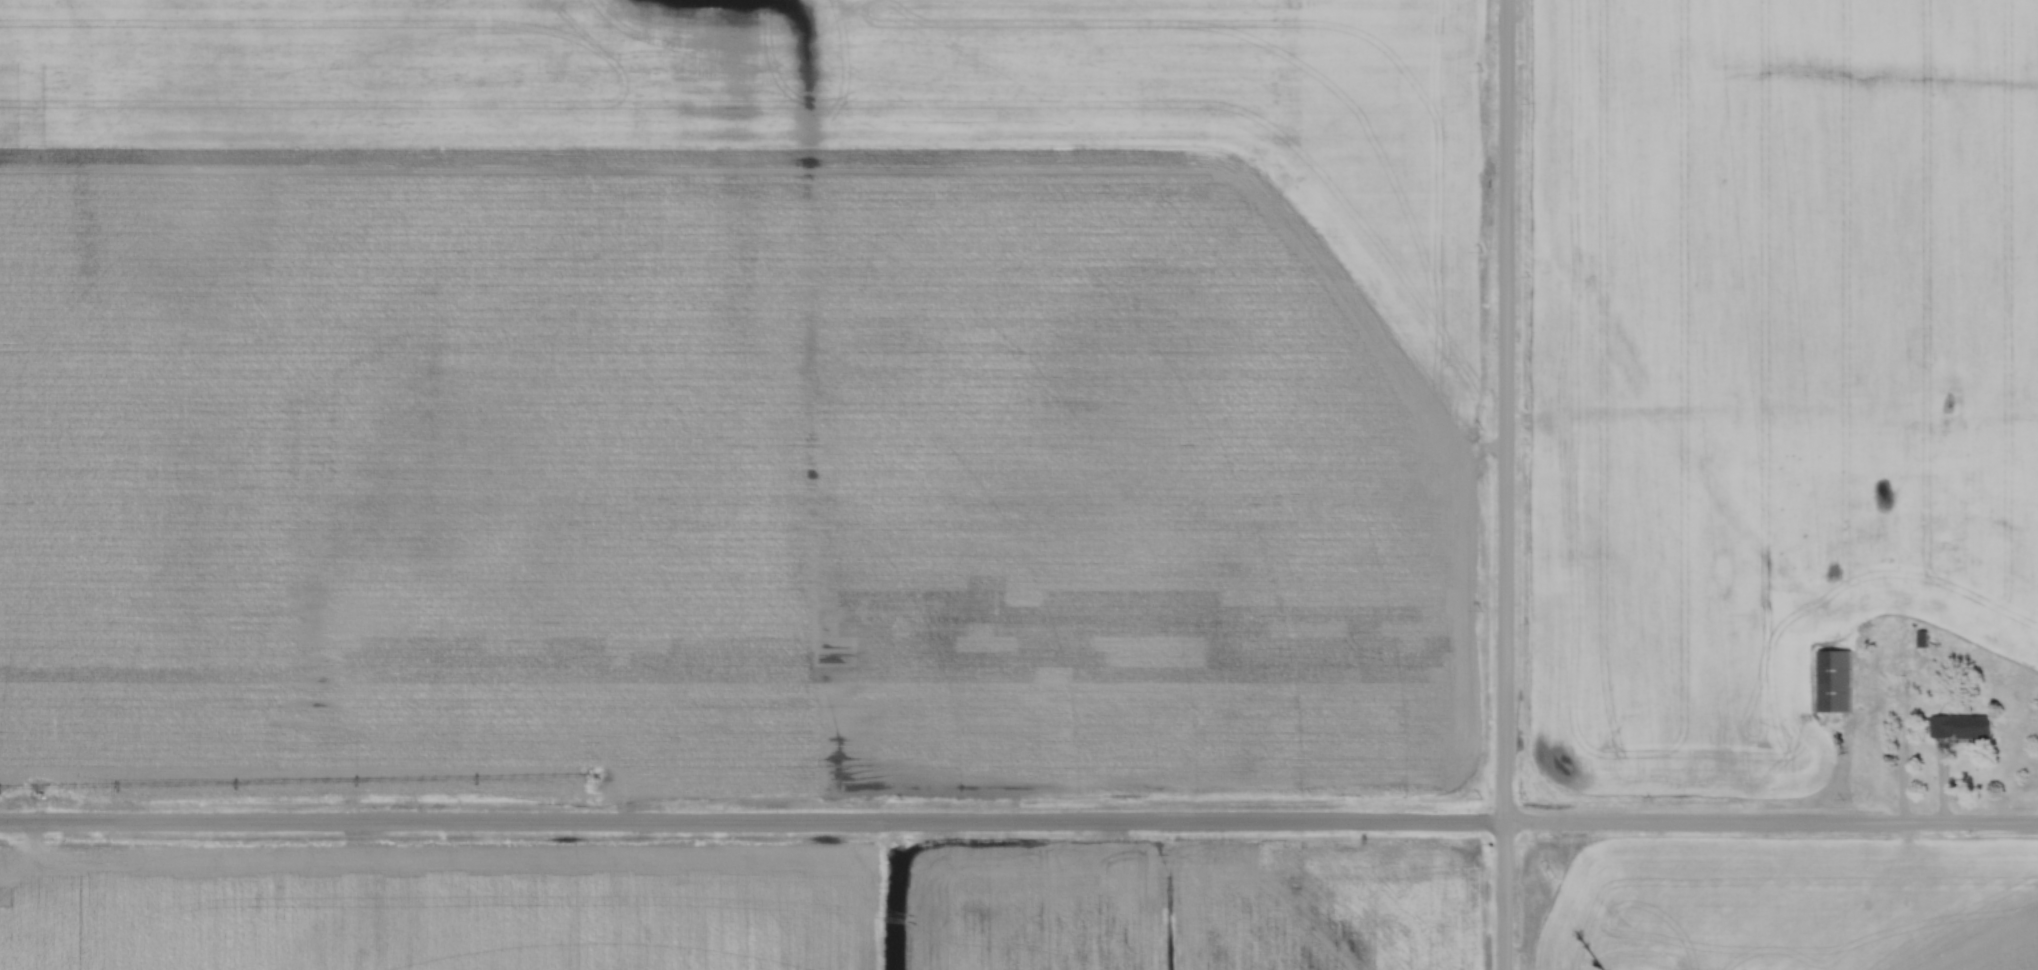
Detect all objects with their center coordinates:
road: (1508, 485)
building: (1833, 544)
building: (2031, 620)
building: (1950, 641)
building: (1834, 681)
building: (1960, 726)
road: (1920, 749)
road: (1018, 822)

